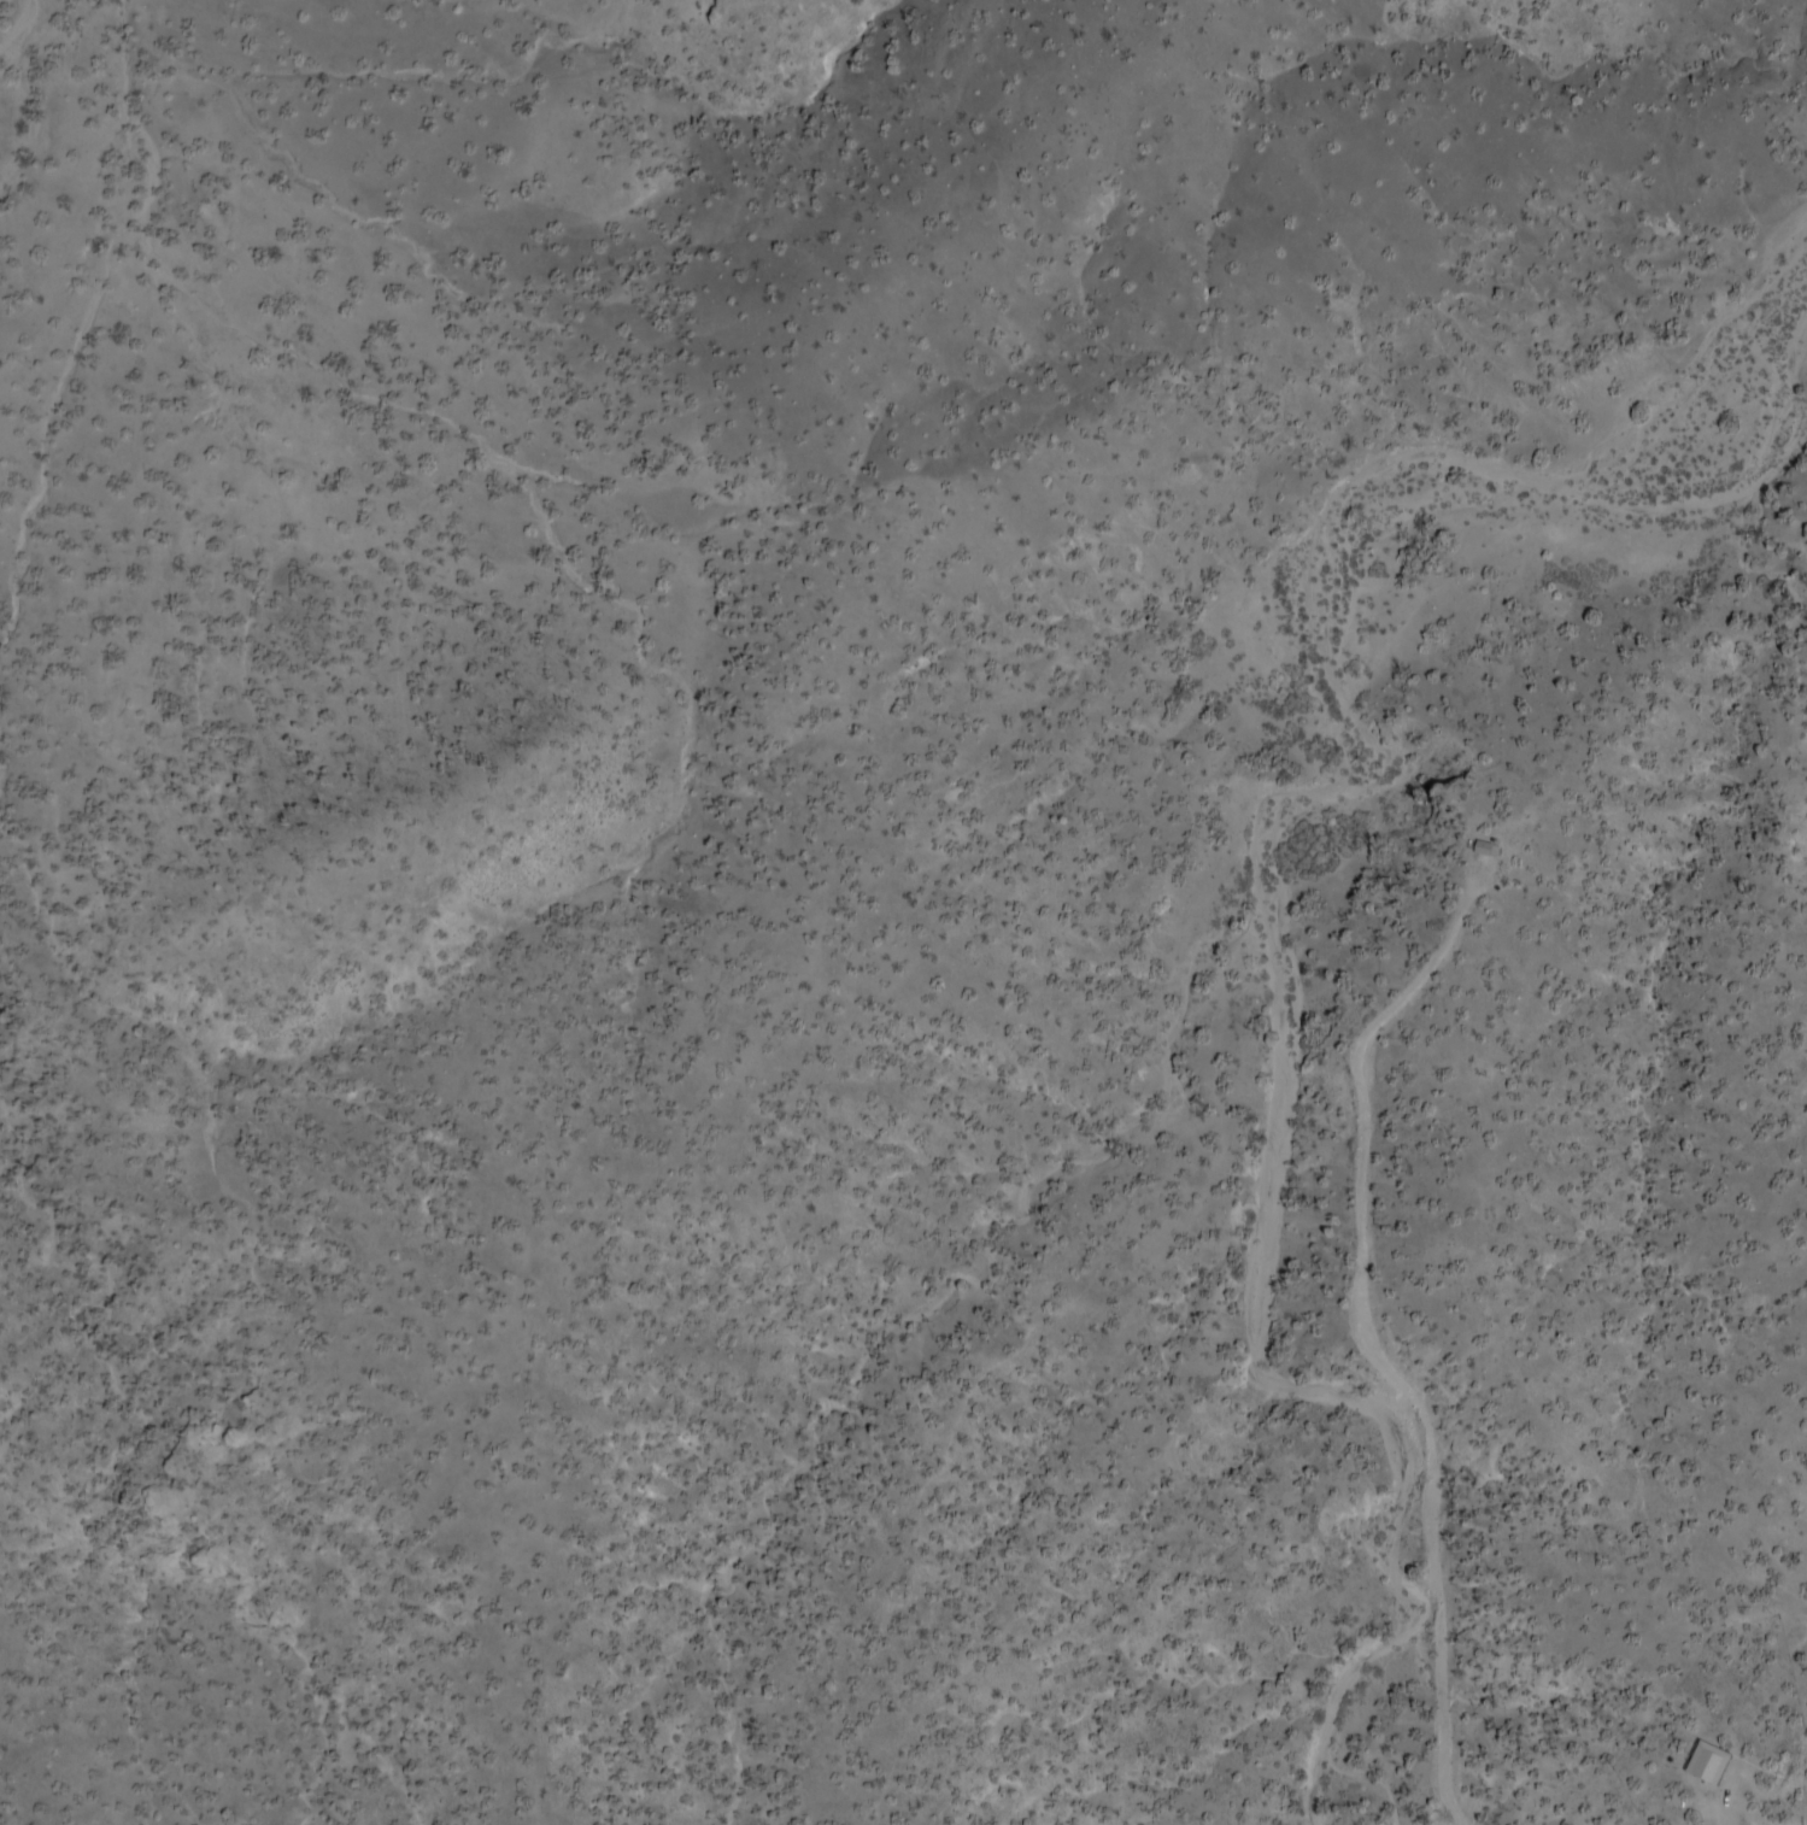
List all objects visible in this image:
building: (1495, 837)
building: (1498, 850)
road: (1391, 1349)
building: (1717, 1751)
road: (1738, 1811)

